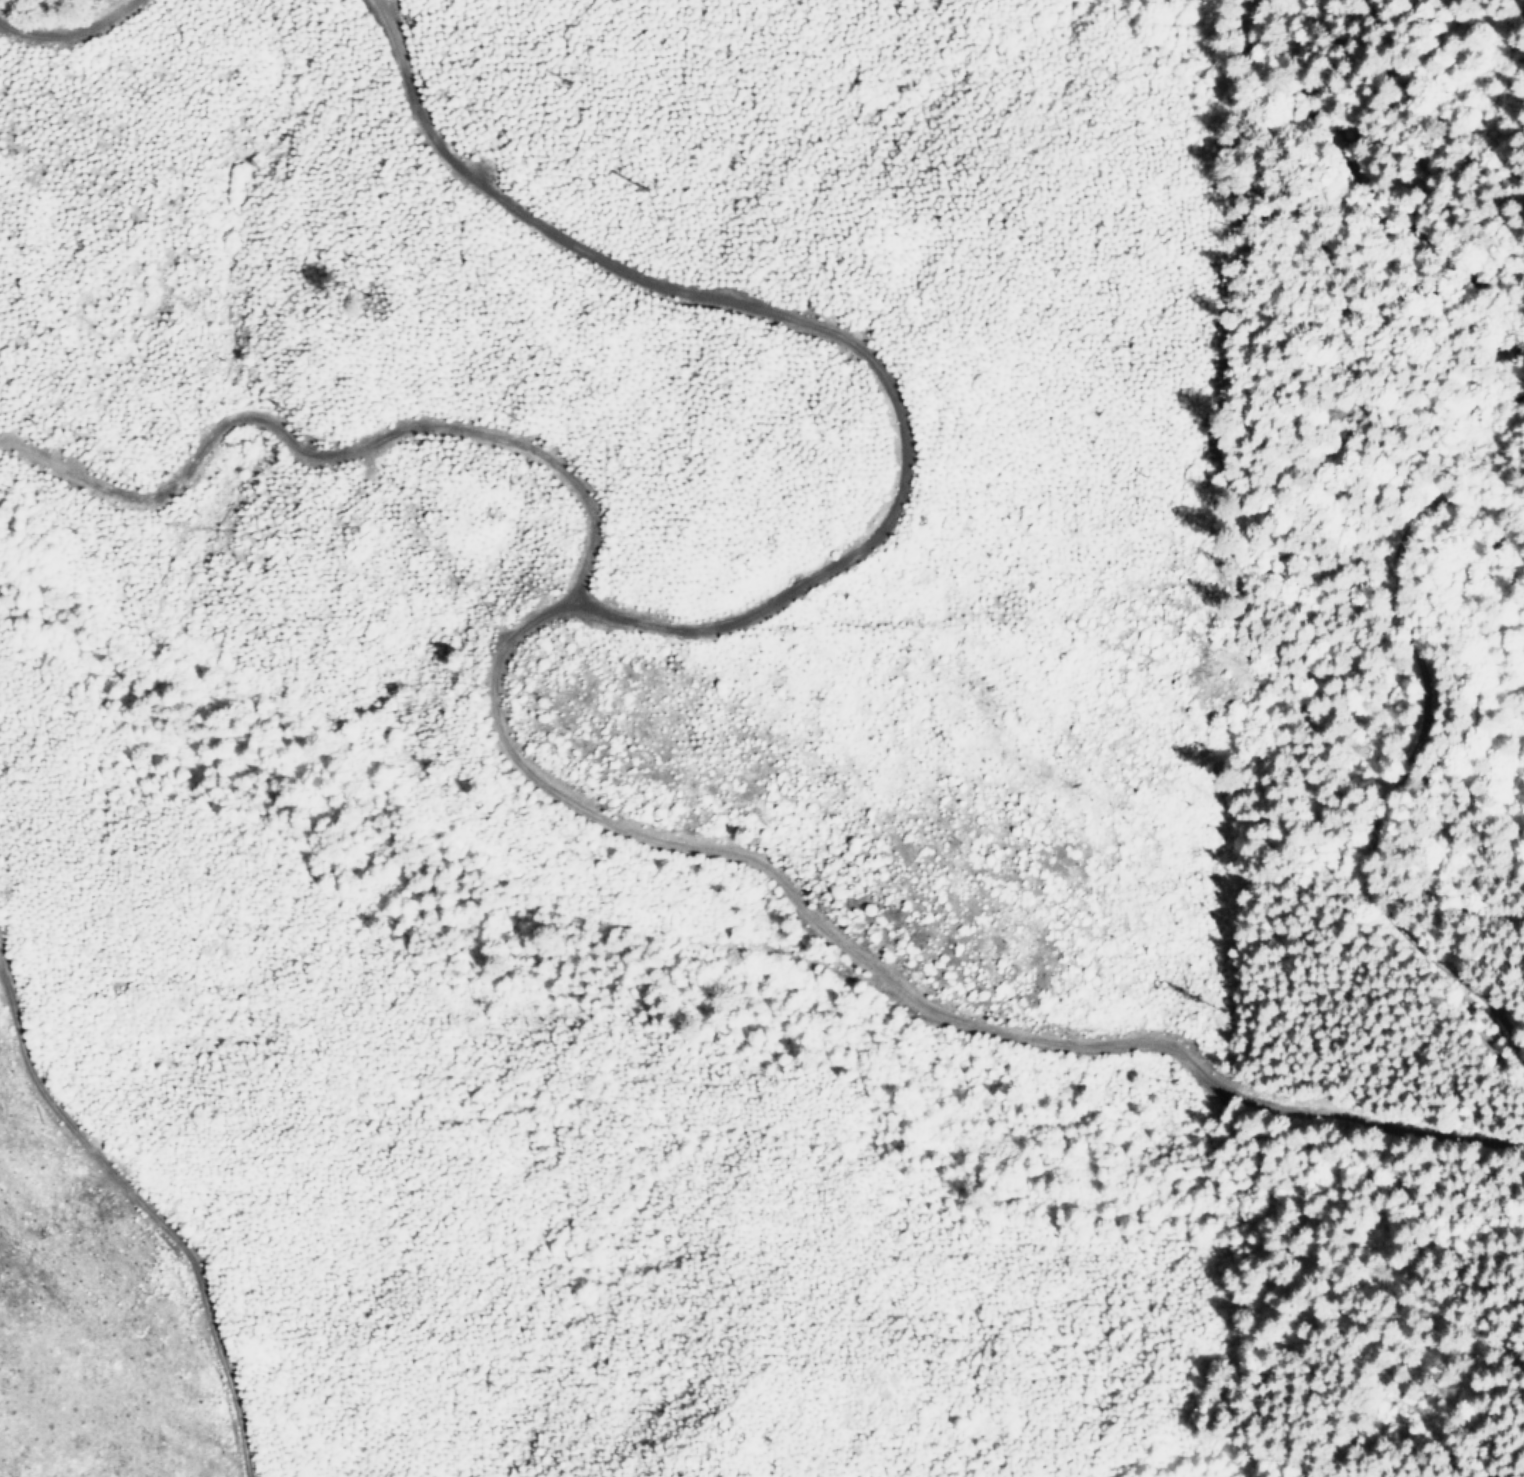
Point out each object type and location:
road: (67, 25)
road: (485, 714)
road: (1400, 759)
road: (143, 1210)

